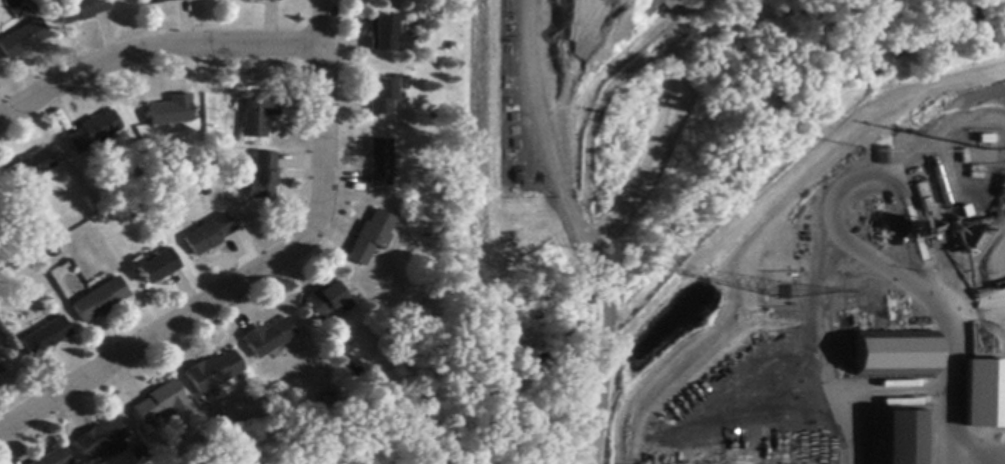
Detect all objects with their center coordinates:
building: (261, 0)
building: (157, 2)
building: (79, 10)
building: (385, 35)
building: (22, 40)
road: (152, 49)
building: (382, 95)
building: (169, 112)
building: (257, 115)
road: (321, 121)
building: (92, 133)
building: (881, 156)
building: (378, 163)
building: (28, 169)
building: (261, 177)
building: (207, 235)
building: (369, 238)
building: (156, 267)
building: (99, 301)
building: (325, 301)
road: (153, 335)
building: (45, 338)
building: (267, 338)
building: (892, 355)
building: (353, 368)
building: (0, 371)
building: (212, 374)
building: (983, 394)
building: (326, 401)
building: (157, 403)
building: (900, 438)
building: (98, 439)
building: (139, 456)
building: (54, 458)

